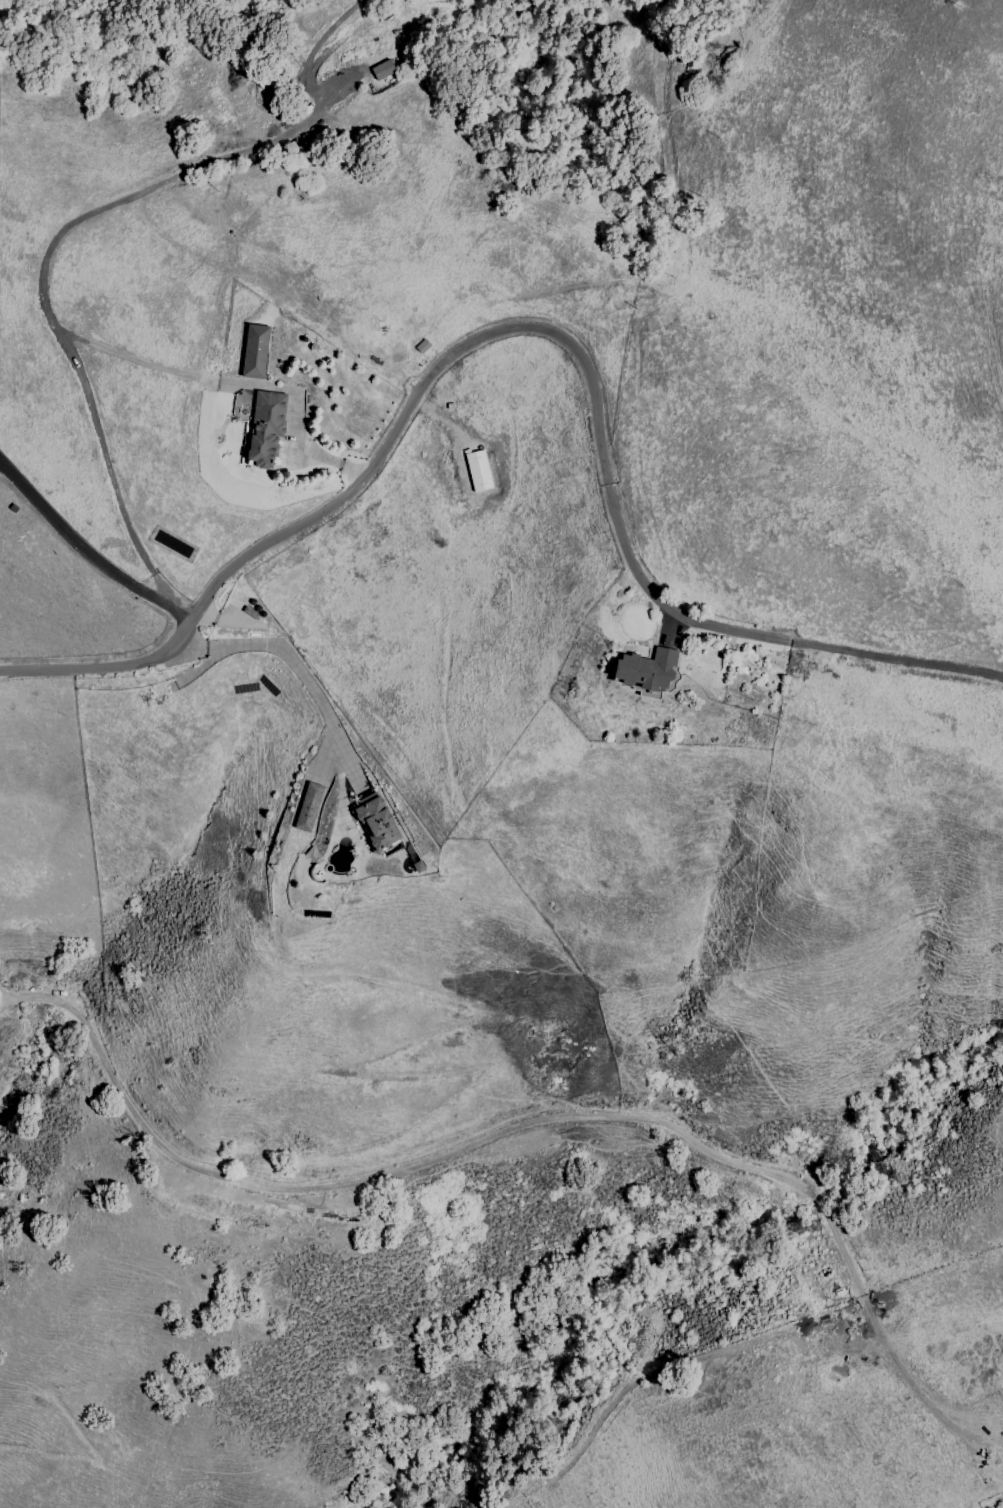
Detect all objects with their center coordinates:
building: (382, 70)
road: (41, 269)
road: (532, 329)
building: (254, 351)
building: (478, 471)
road: (73, 539)
road: (178, 611)
road: (287, 657)
building: (645, 669)
building: (307, 807)
building: (376, 824)
road: (7, 998)
road: (510, 1127)
road: (982, 1450)

